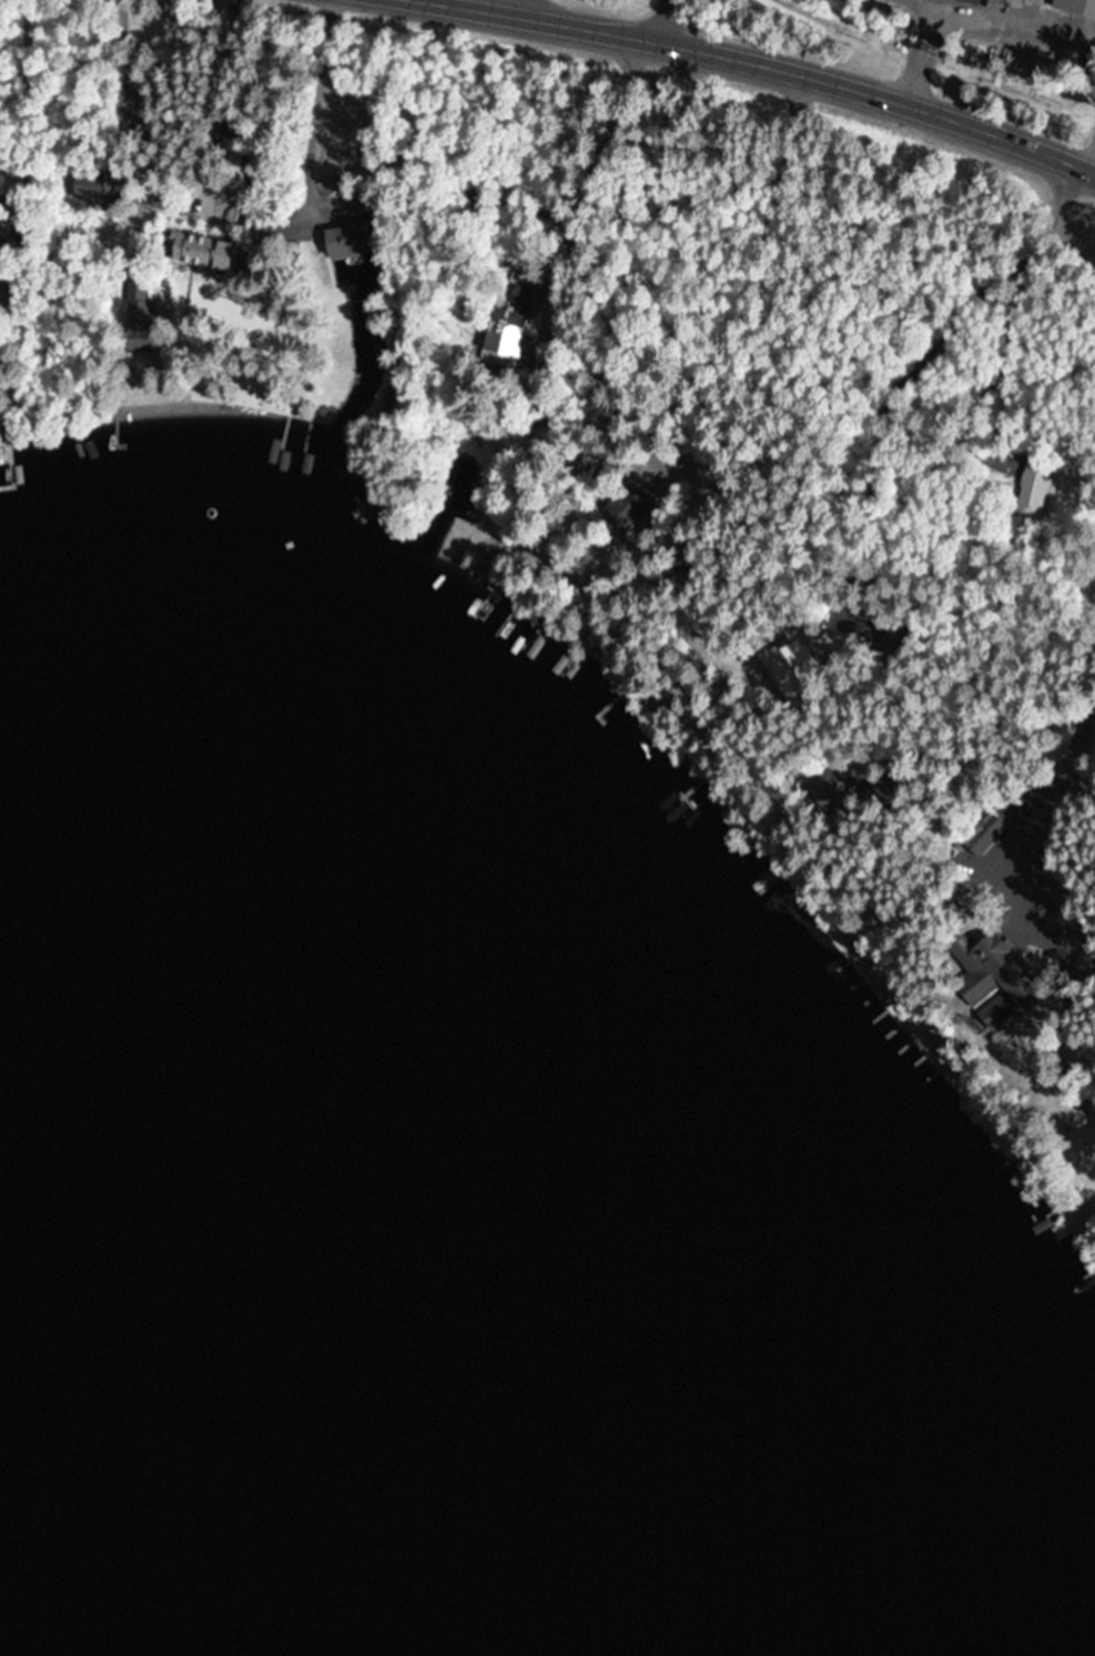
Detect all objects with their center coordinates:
building: (969, 1)
building: (1033, 1)
building: (1074, 7)
road: (663, 20)
road: (756, 64)
road: (608, 152)
building: (6, 184)
building: (341, 240)
building: (196, 245)
building: (2, 258)
road: (744, 280)
building: (515, 312)
building: (139, 316)
road: (659, 381)
building: (1027, 482)
building: (630, 502)
road: (803, 628)
building: (794, 664)
building: (986, 826)
road: (1017, 844)
building: (987, 970)

